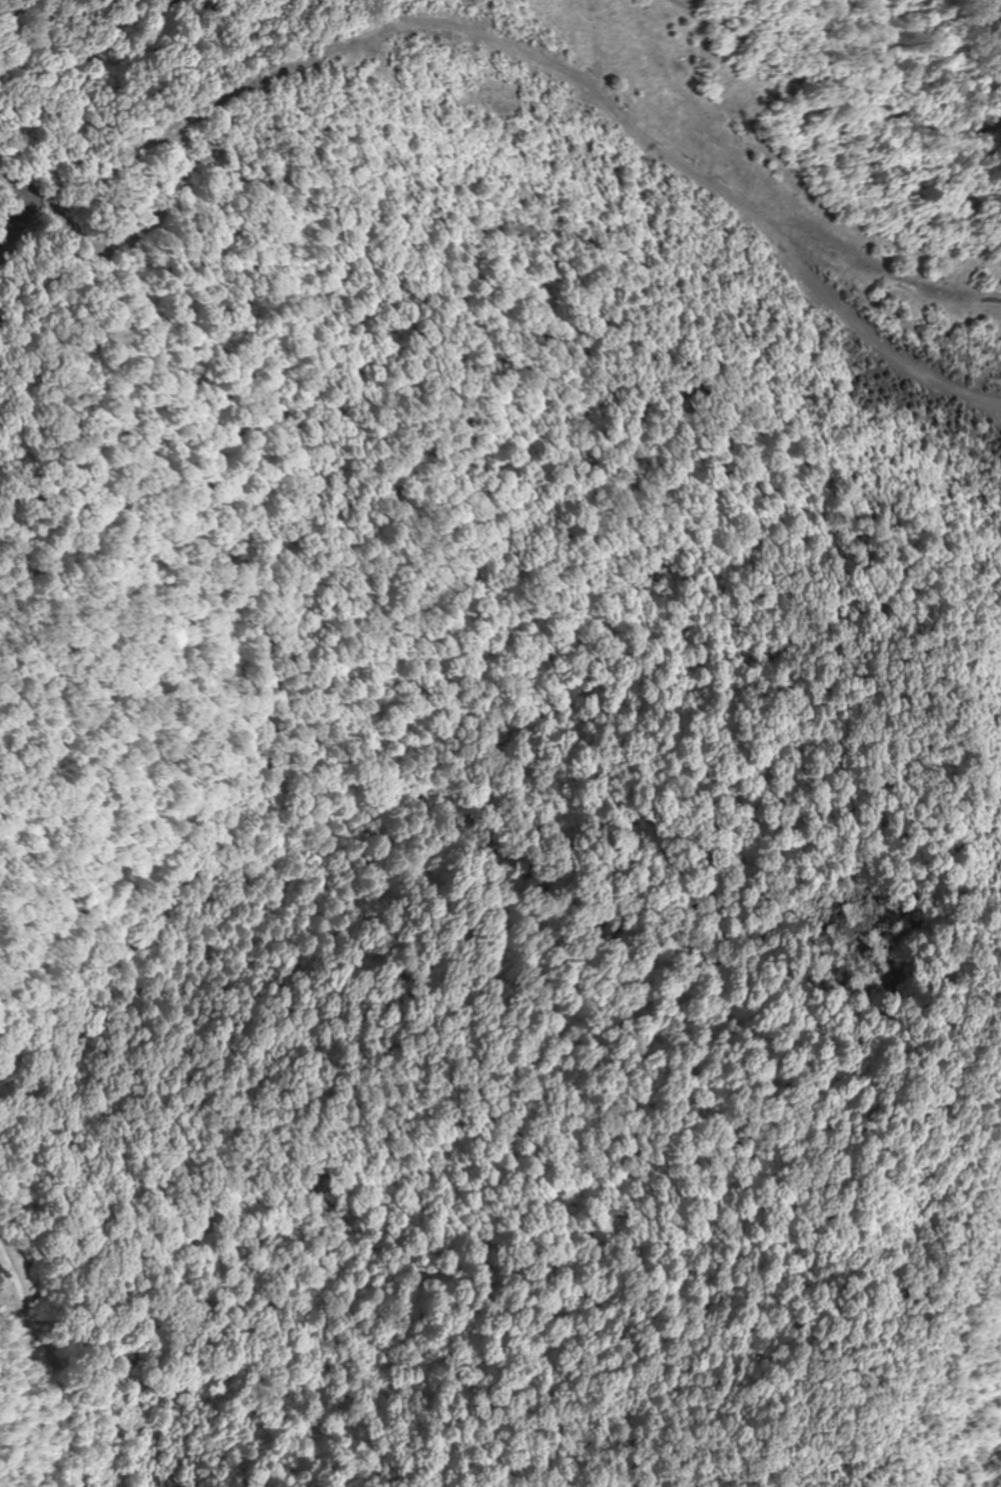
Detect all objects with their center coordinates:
building: (0, 1272)

